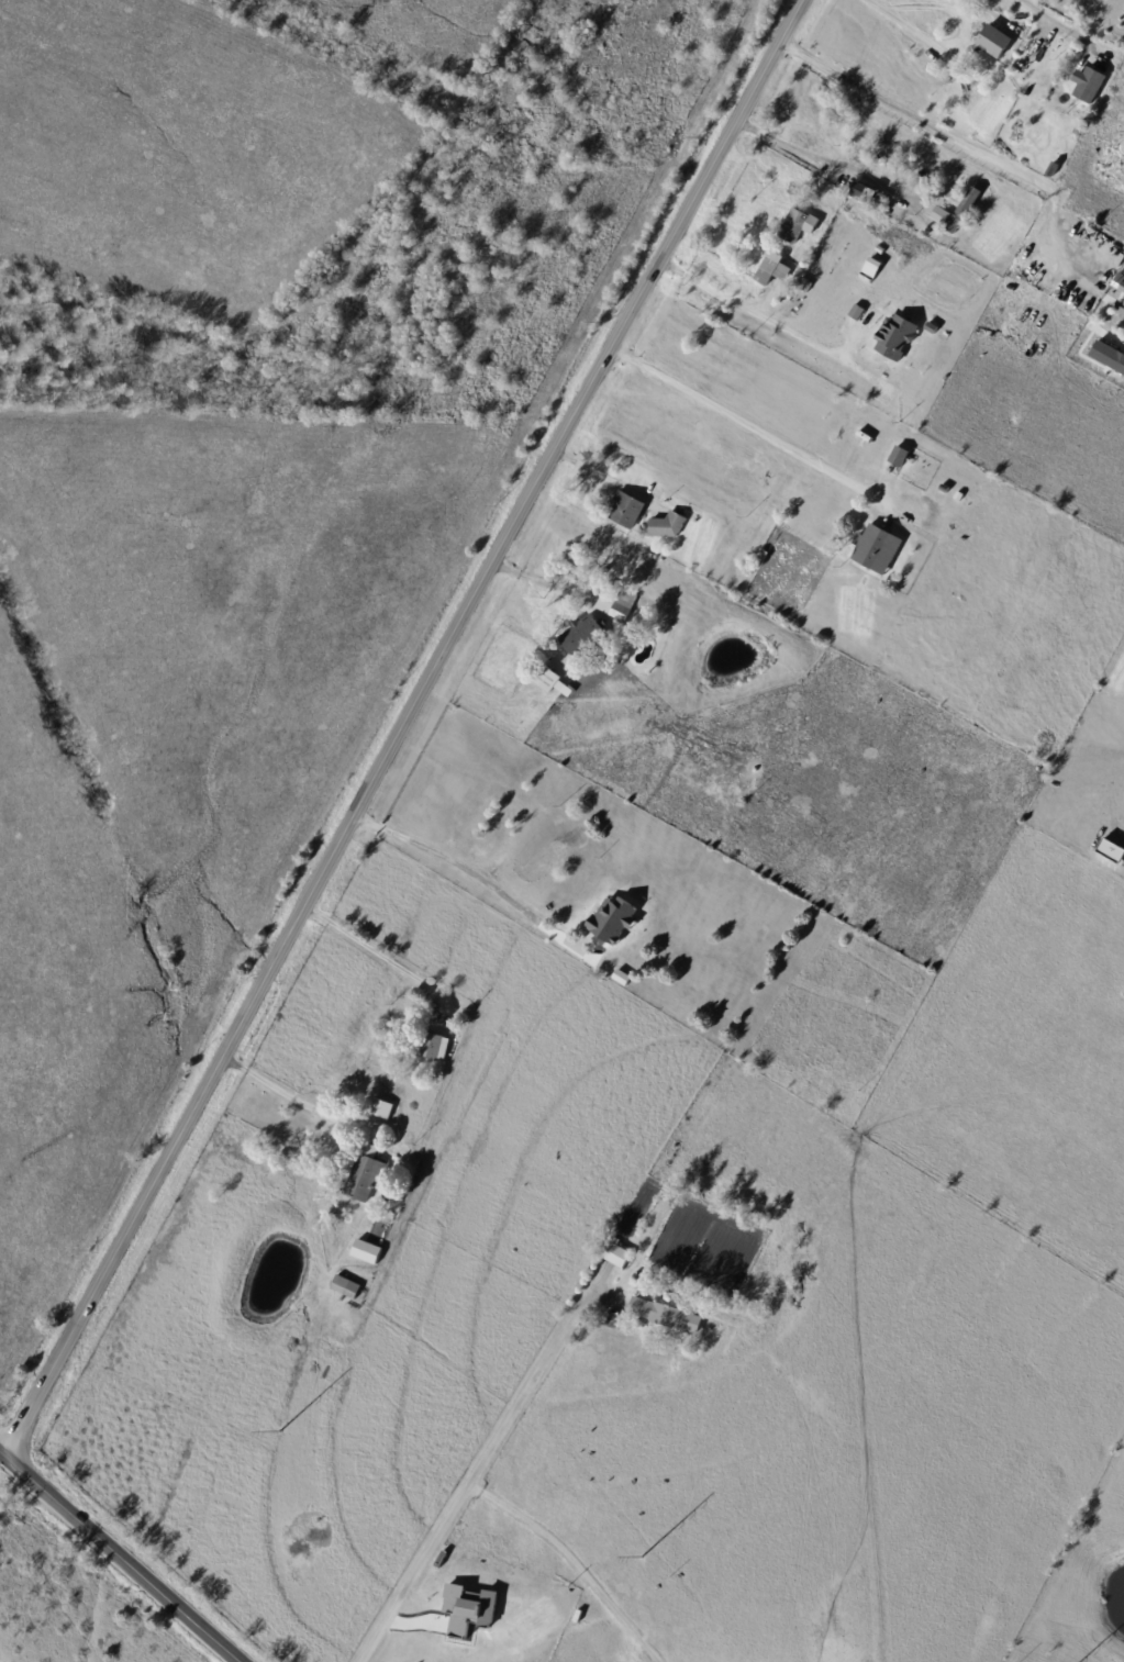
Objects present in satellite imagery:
road: (1051, 21)
road: (917, 33)
building: (995, 41)
building: (1089, 83)
building: (975, 86)
building: (1080, 130)
road: (958, 141)
road: (828, 155)
building: (1054, 168)
building: (857, 189)
building: (880, 200)
building: (961, 209)
building: (799, 224)
building: (870, 266)
building: (770, 267)
building: (1120, 281)
building: (806, 286)
building: (792, 289)
building: (783, 303)
road: (776, 317)
building: (1108, 356)
building: (858, 411)
road: (746, 423)
building: (901, 456)
building: (912, 466)
road: (609, 479)
building: (627, 511)
building: (669, 526)
building: (878, 549)
building: (604, 572)
building: (617, 603)
building: (585, 634)
building: (554, 683)
road: (400, 727)
road: (468, 871)
building: (614, 919)
road: (375, 952)
building: (434, 1007)
building: (439, 1047)
road: (289, 1095)
building: (835, 1102)
building: (383, 1108)
building: (368, 1174)
building: (368, 1251)
building: (620, 1256)
building: (641, 1279)
building: (347, 1286)
building: (668, 1315)
power tower: (279, 1434)
road: (480, 1469)
road: (120, 1557)
power tower: (641, 1558)
building: (468, 1609)

